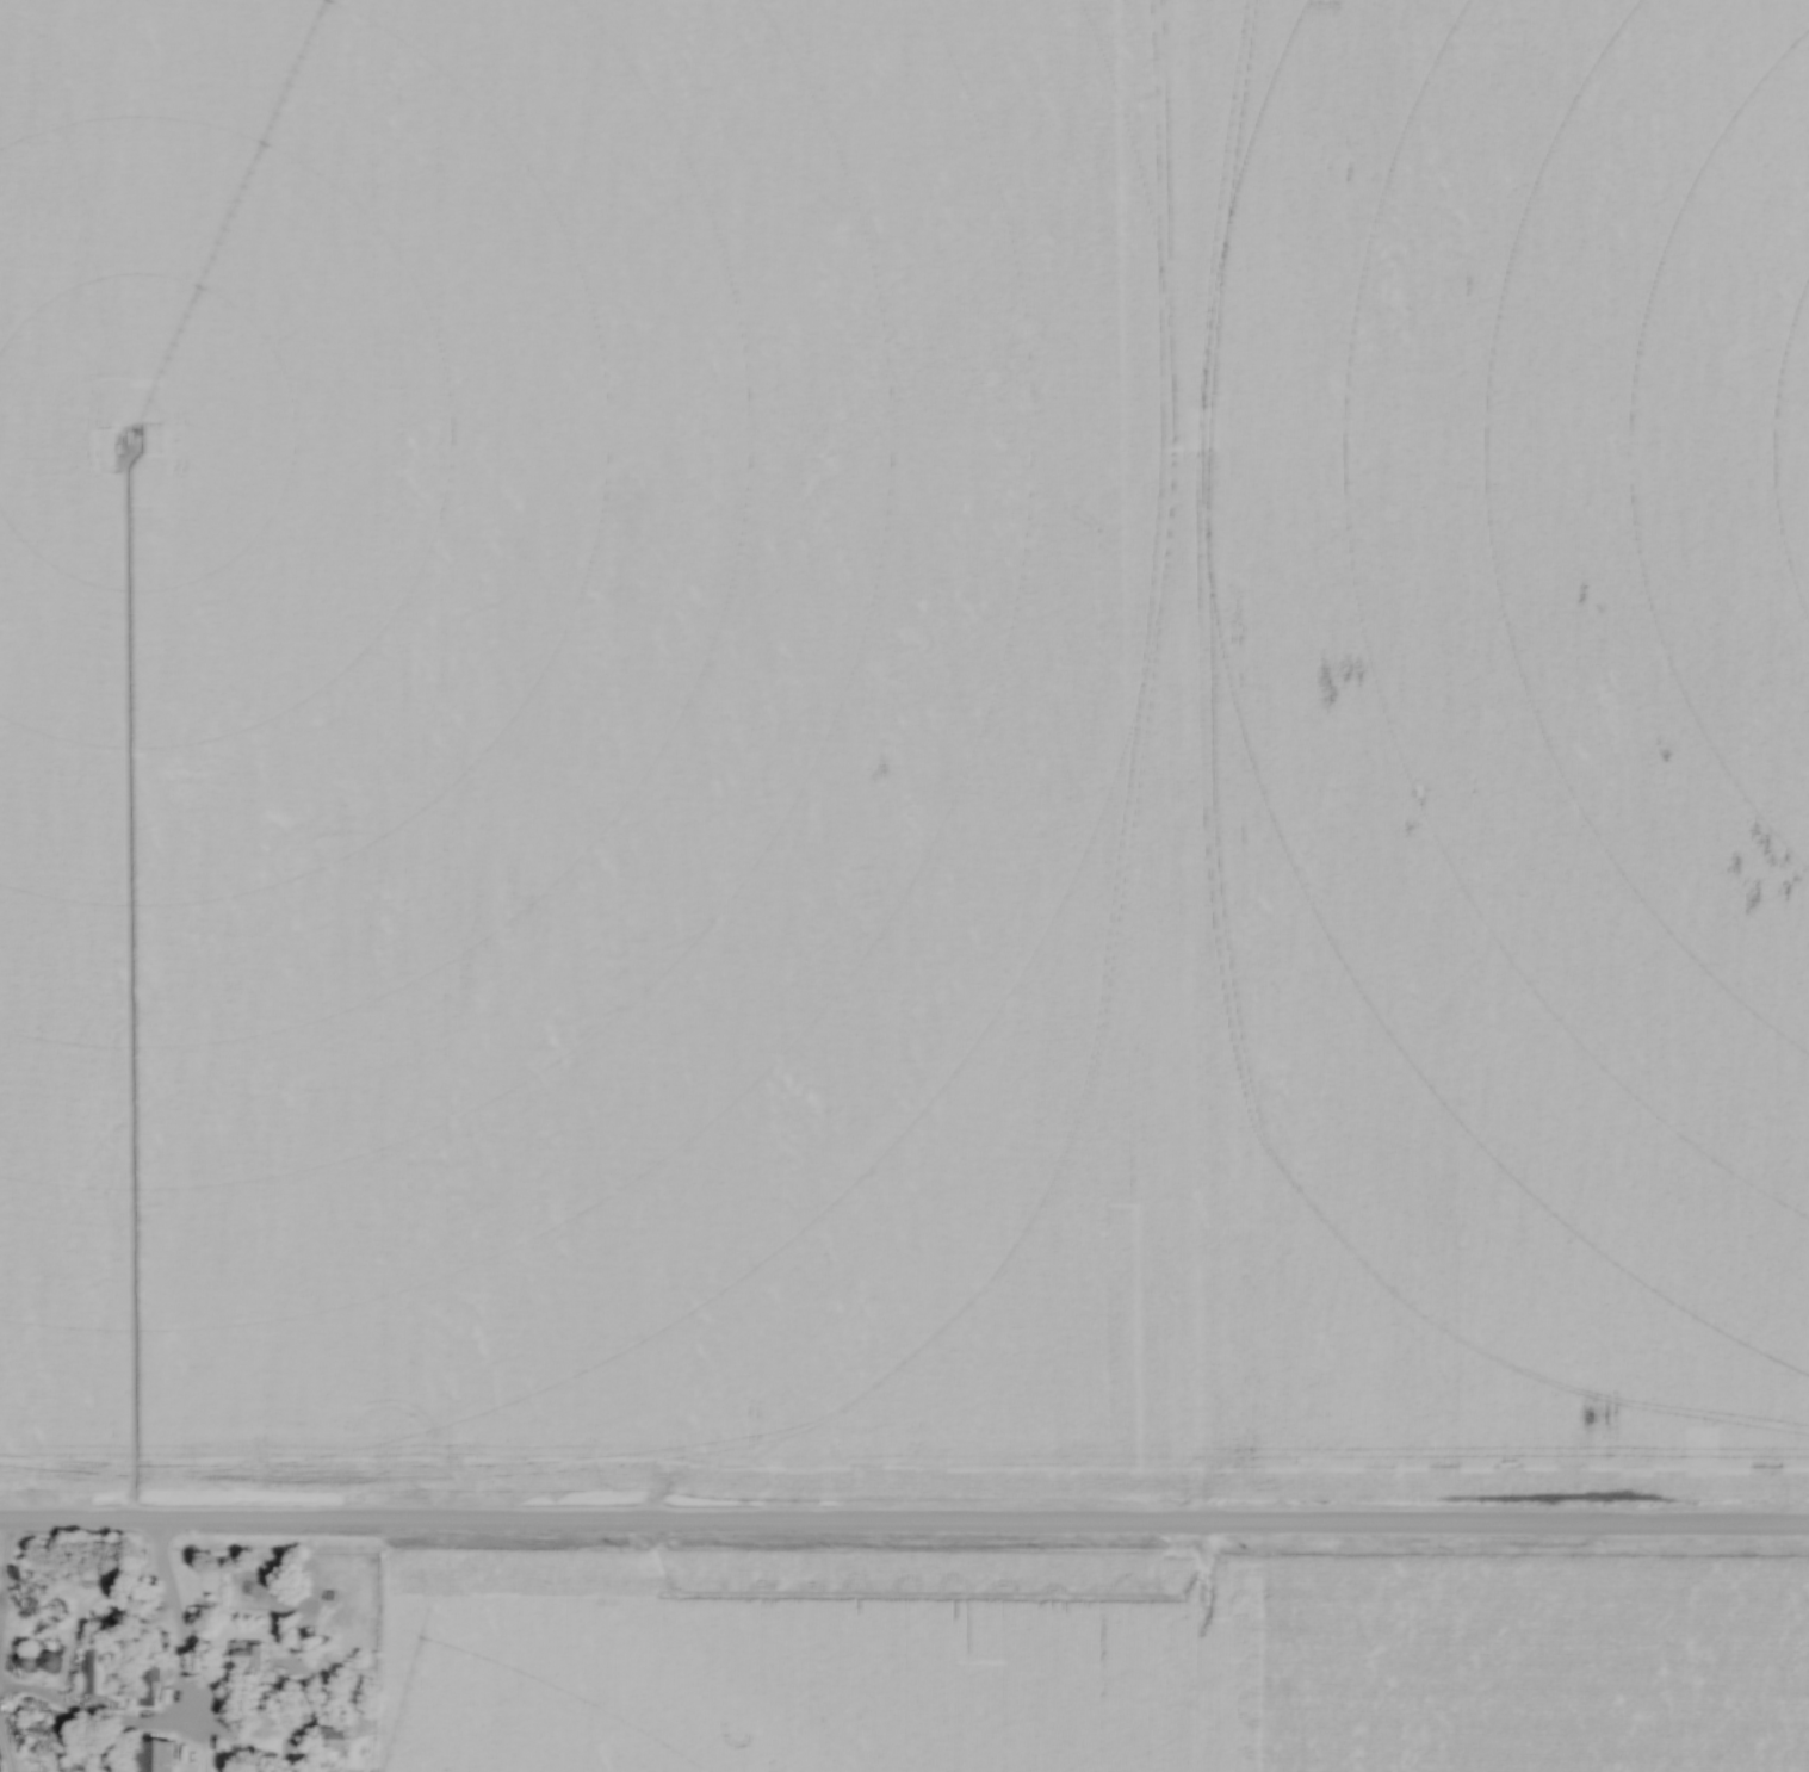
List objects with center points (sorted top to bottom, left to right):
road: (904, 1532)
building: (57, 1607)
road: (172, 1635)
building: (249, 1658)
building: (98, 1669)
building: (334, 1739)
building: (151, 1755)

